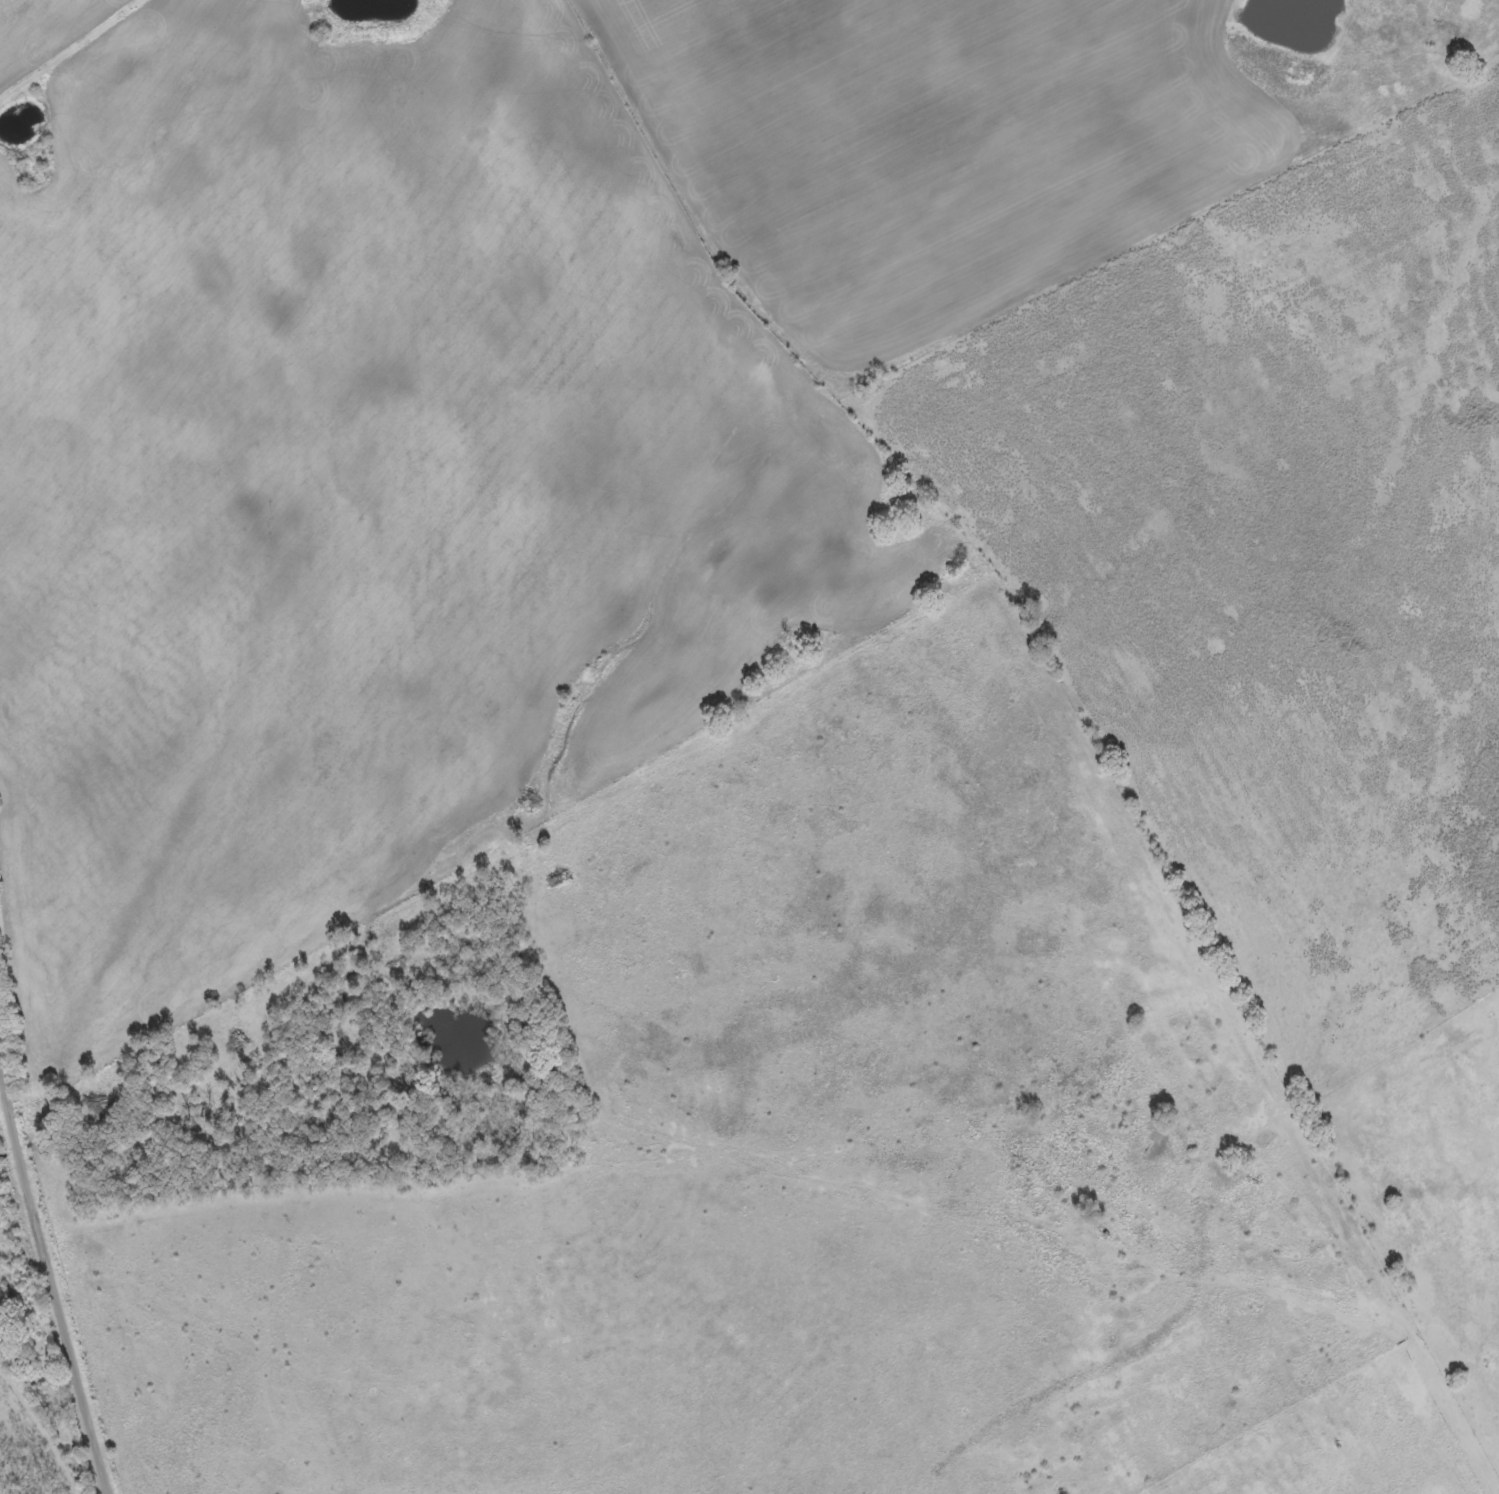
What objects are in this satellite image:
road: (53, 1265)

